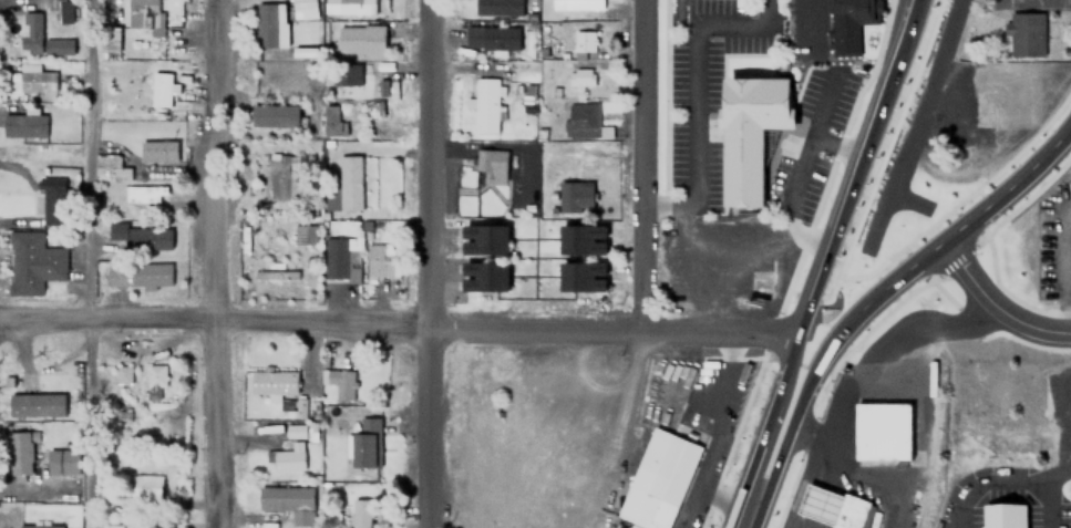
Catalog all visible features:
building: (577, 4)
building: (354, 8)
building: (497, 8)
building: (302, 9)
building: (61, 12)
building: (143, 14)
building: (848, 23)
building: (269, 24)
building: (1026, 33)
building: (39, 38)
building: (491, 38)
building: (110, 40)
building: (359, 40)
building: (585, 44)
building: (347, 74)
building: (579, 77)
building: (34, 79)
building: (163, 87)
building: (997, 94)
building: (485, 104)
building: (370, 107)
building: (274, 114)
building: (332, 118)
building: (585, 121)
building: (23, 124)
road: (919, 125)
building: (751, 131)
building: (157, 149)
road: (657, 162)
road: (84, 163)
building: (490, 165)
building: (109, 166)
building: (282, 176)
building: (349, 182)
road: (1010, 184)
building: (143, 194)
building: (575, 195)
building: (51, 199)
building: (303, 234)
building: (141, 235)
building: (484, 238)
building: (581, 238)
road: (828, 249)
building: (378, 260)
building: (31, 262)
road: (227, 263)
road: (431, 263)
building: (342, 265)
building: (274, 270)
building: (137, 272)
building: (484, 275)
building: (583, 276)
road: (874, 293)
road: (993, 300)
road: (401, 324)
building: (124, 374)
building: (154, 381)
building: (272, 382)
building: (339, 382)
building: (35, 405)
building: (882, 427)
building: (297, 431)
road: (783, 431)
building: (364, 443)
building: (289, 457)
building: (20, 458)
building: (61, 460)
building: (658, 479)
building: (147, 485)
building: (288, 501)
building: (818, 503)
gas station: (818, 503)
building: (851, 511)
building: (362, 513)
road: (742, 514)
building: (1007, 514)
building: (40, 525)
building: (113, 526)

